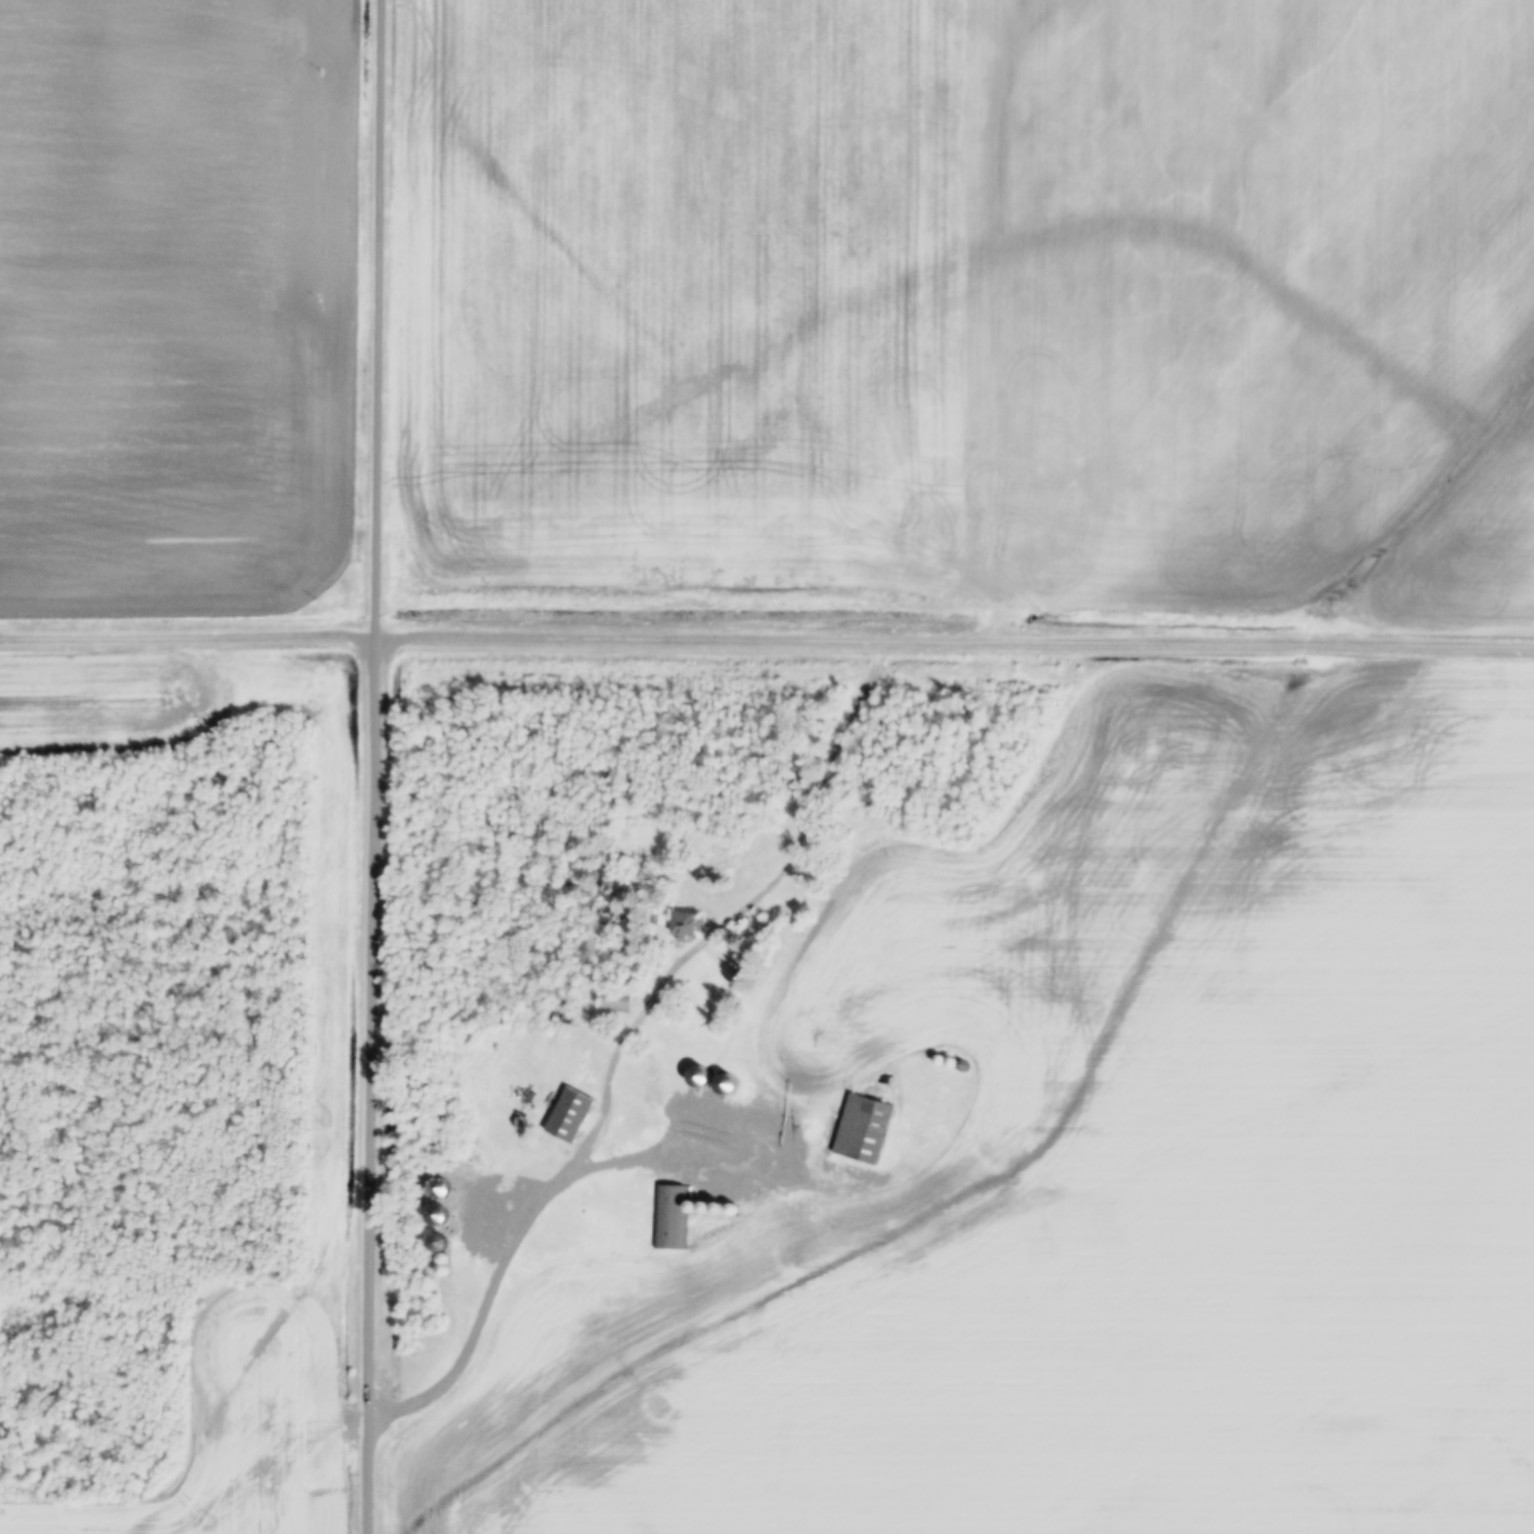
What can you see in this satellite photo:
road: (388, 317)
road: (192, 634)
road: (636, 634)
road: (1210, 640)
road: (807, 891)
road: (664, 991)
road: (379, 1083)
road: (570, 1178)

